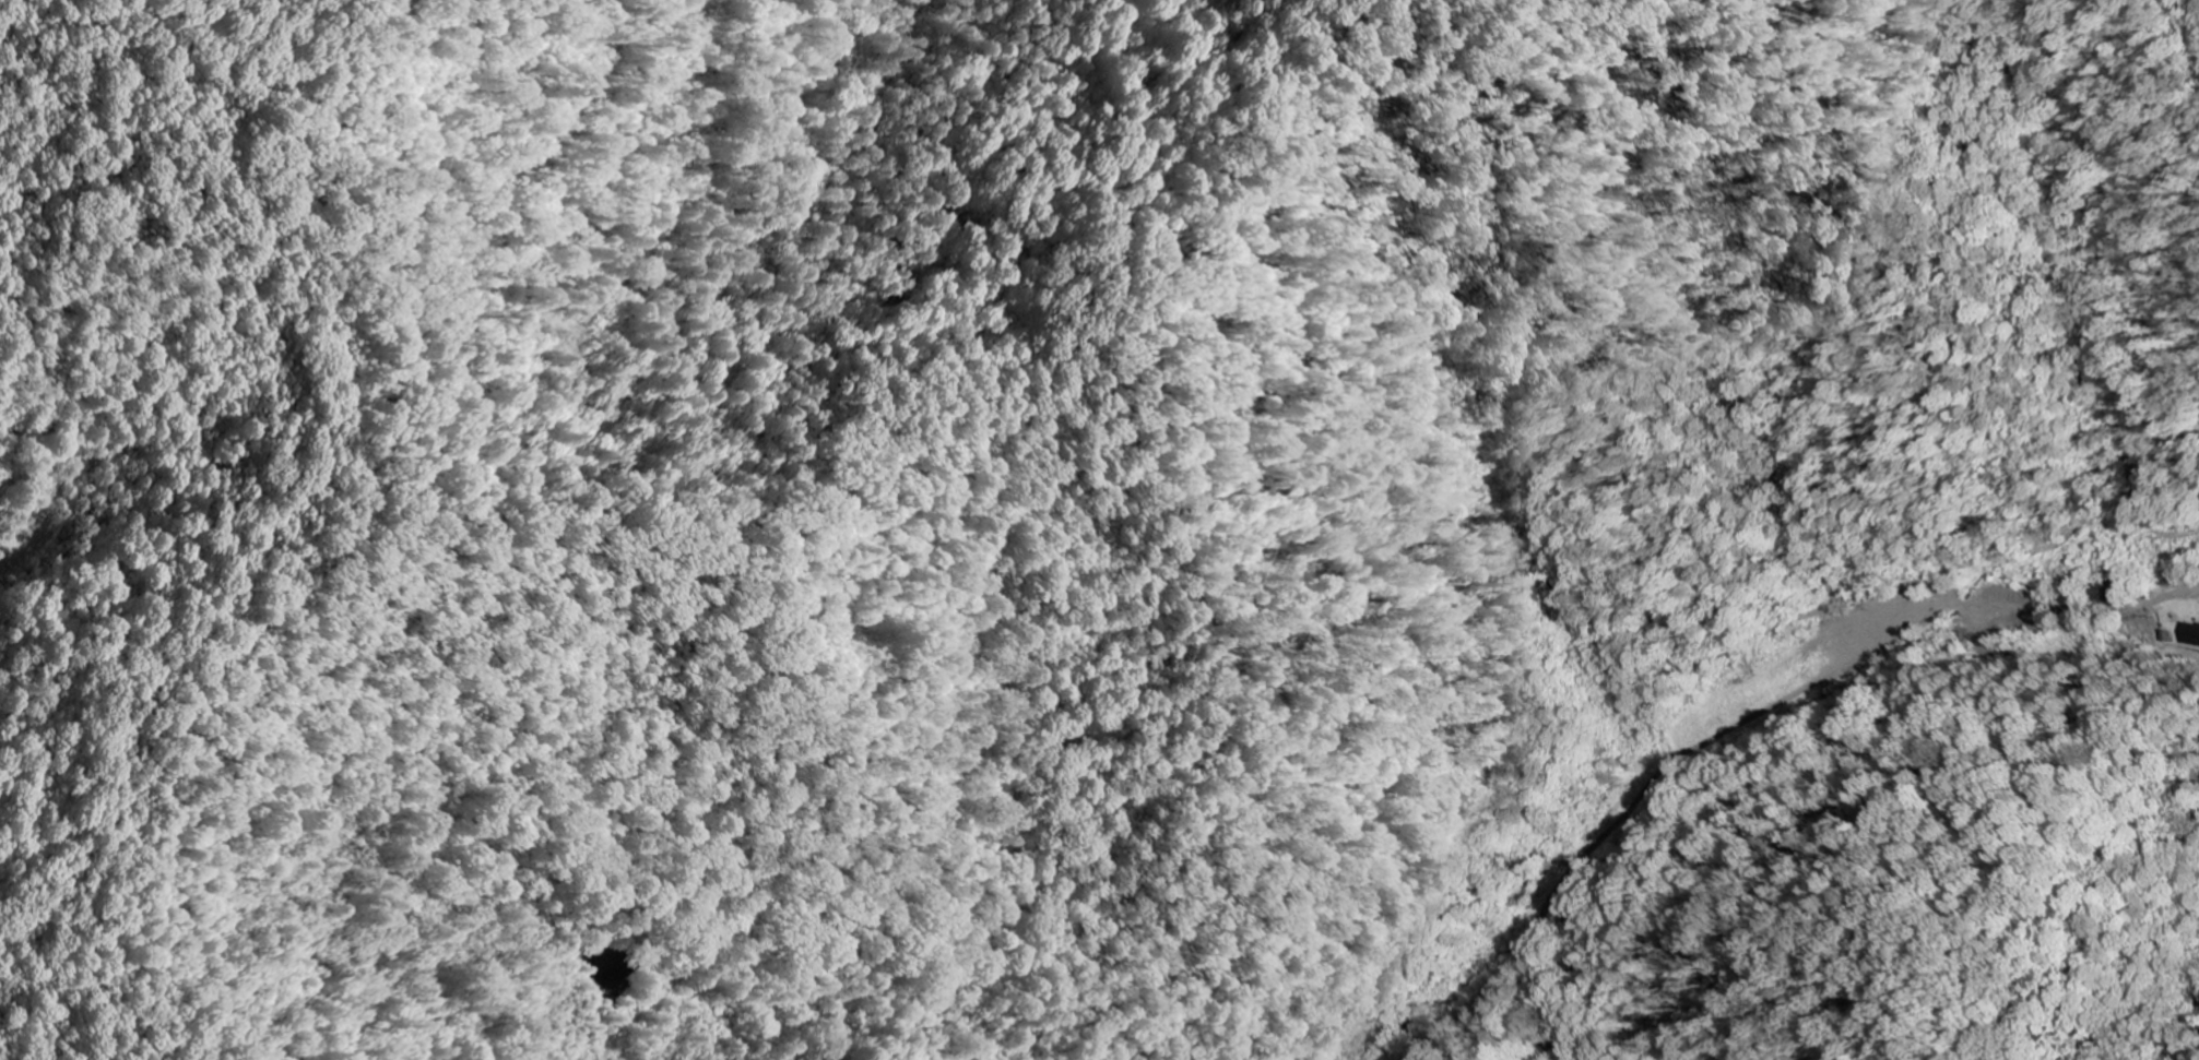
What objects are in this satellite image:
road: (2059, 609)
building: (2191, 634)

